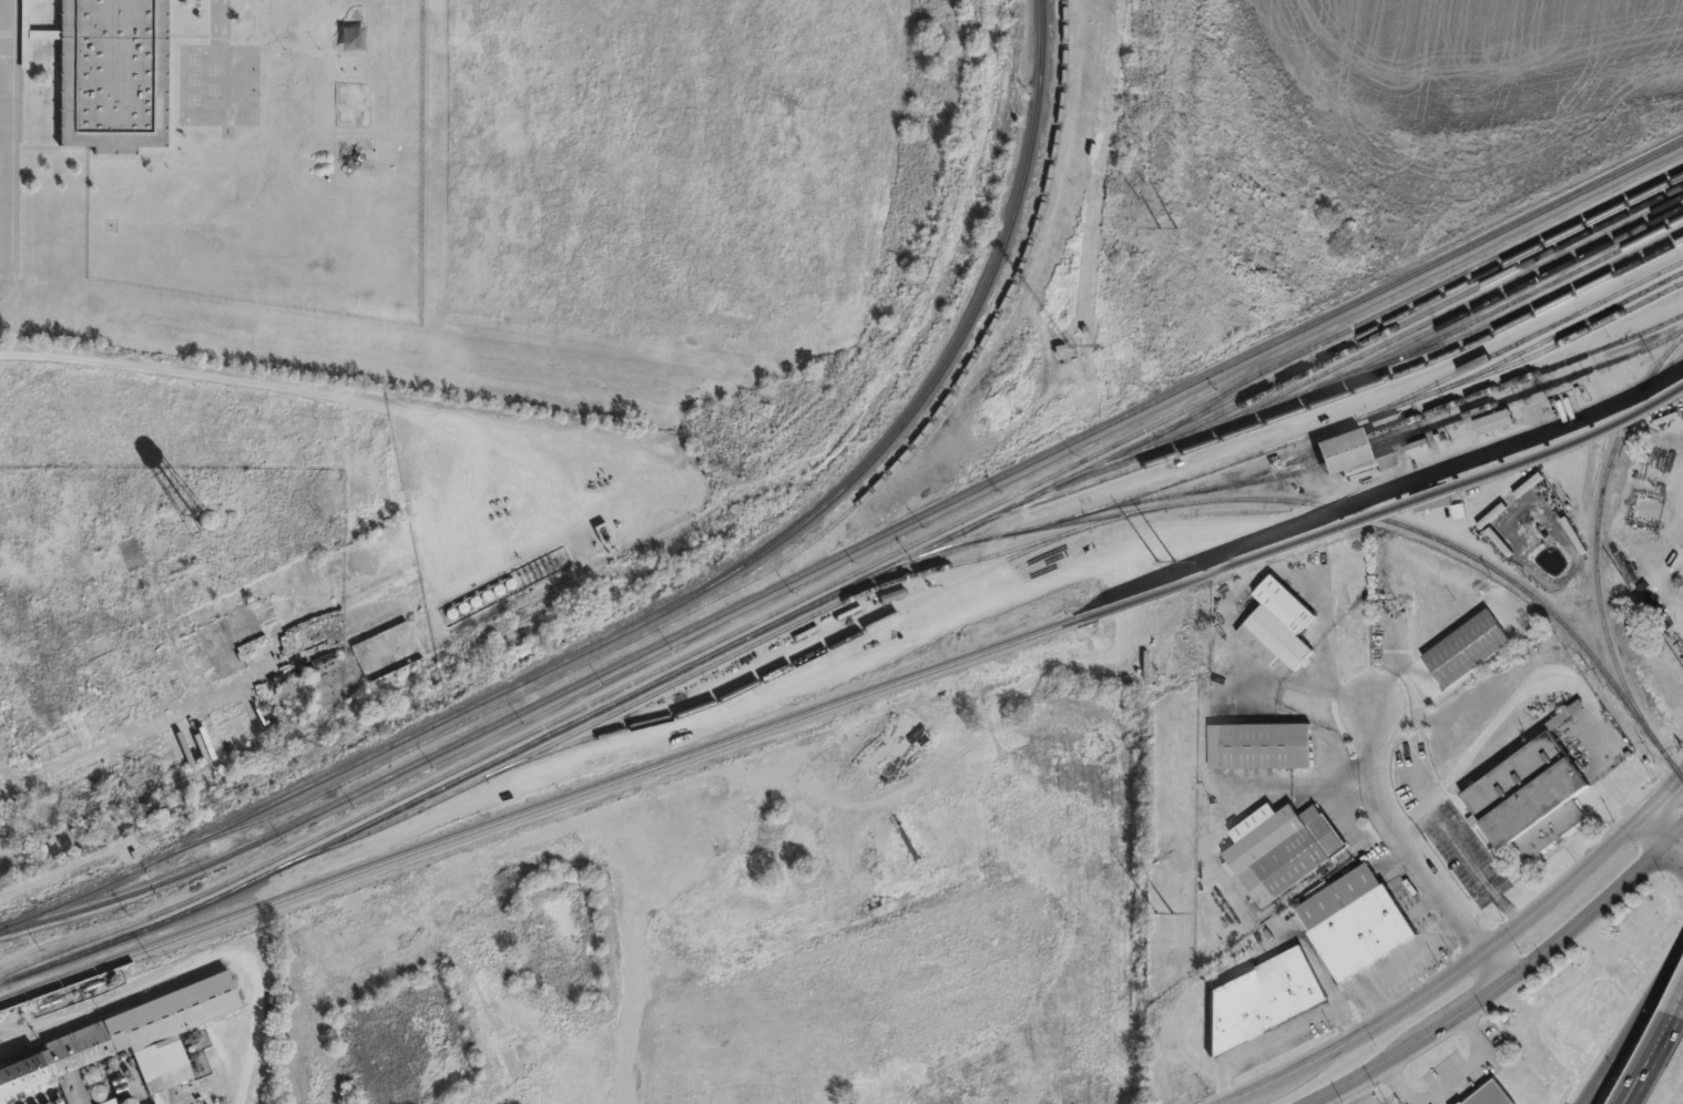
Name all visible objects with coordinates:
road: (227, 16)
building: (355, 29)
building: (116, 73)
road: (13, 141)
power tower: (1171, 206)
road: (6, 208)
railway: (1532, 301)
railway: (1449, 309)
railway: (1490, 311)
railway: (1560, 330)
railway: (1374, 336)
railway: (1519, 339)
railway: (1410, 340)
railway: (1327, 397)
railway: (1207, 405)
railway: (1440, 406)
railway: (1351, 418)
building: (1493, 420)
railway: (1395, 437)
building: (1417, 447)
building: (1343, 449)
building: (1384, 458)
building: (1526, 485)
building: (1431, 499)
railway: (1307, 502)
building: (1490, 515)
building: (195, 519)
railway: (1597, 532)
power tower: (1167, 539)
building: (1264, 539)
railway: (846, 550)
railway: (779, 562)
railway: (1217, 572)
railway: (844, 575)
railway: (845, 586)
railway: (674, 601)
building: (1276, 625)
building: (1472, 646)
railway: (825, 650)
building: (366, 653)
railway: (676, 681)
building: (1257, 743)
railway: (1667, 759)
railway: (1676, 769)
road: (1603, 778)
railway: (161, 791)
building: (1531, 793)
building: (1201, 811)
road: (1667, 820)
power tower: (1165, 844)
road: (1661, 844)
road: (1463, 848)
building: (1282, 851)
road: (1407, 852)
railway: (370, 865)
building: (1356, 921)
road: (1677, 950)
road: (1677, 959)
road: (1469, 962)
road: (1396, 964)
road: (1500, 980)
road: (1681, 994)
building: (1262, 996)
building: (1599, 1018)
road: (1624, 1032)
building: (127, 1036)
road: (1276, 1039)
road: (1651, 1051)
building: (1491, 1094)
building: (106, 1101)
building: (154, 1103)

